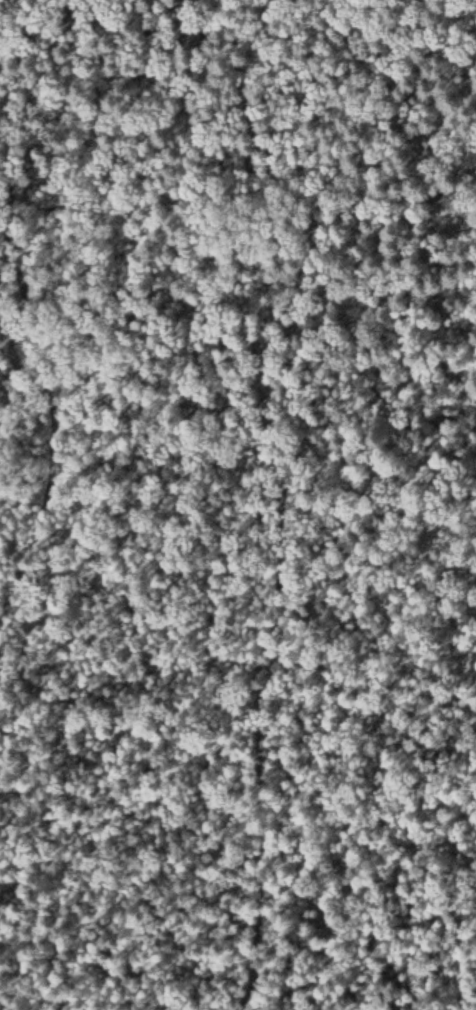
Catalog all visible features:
road: (29, 13)
road: (263, 503)
road: (87, 504)

